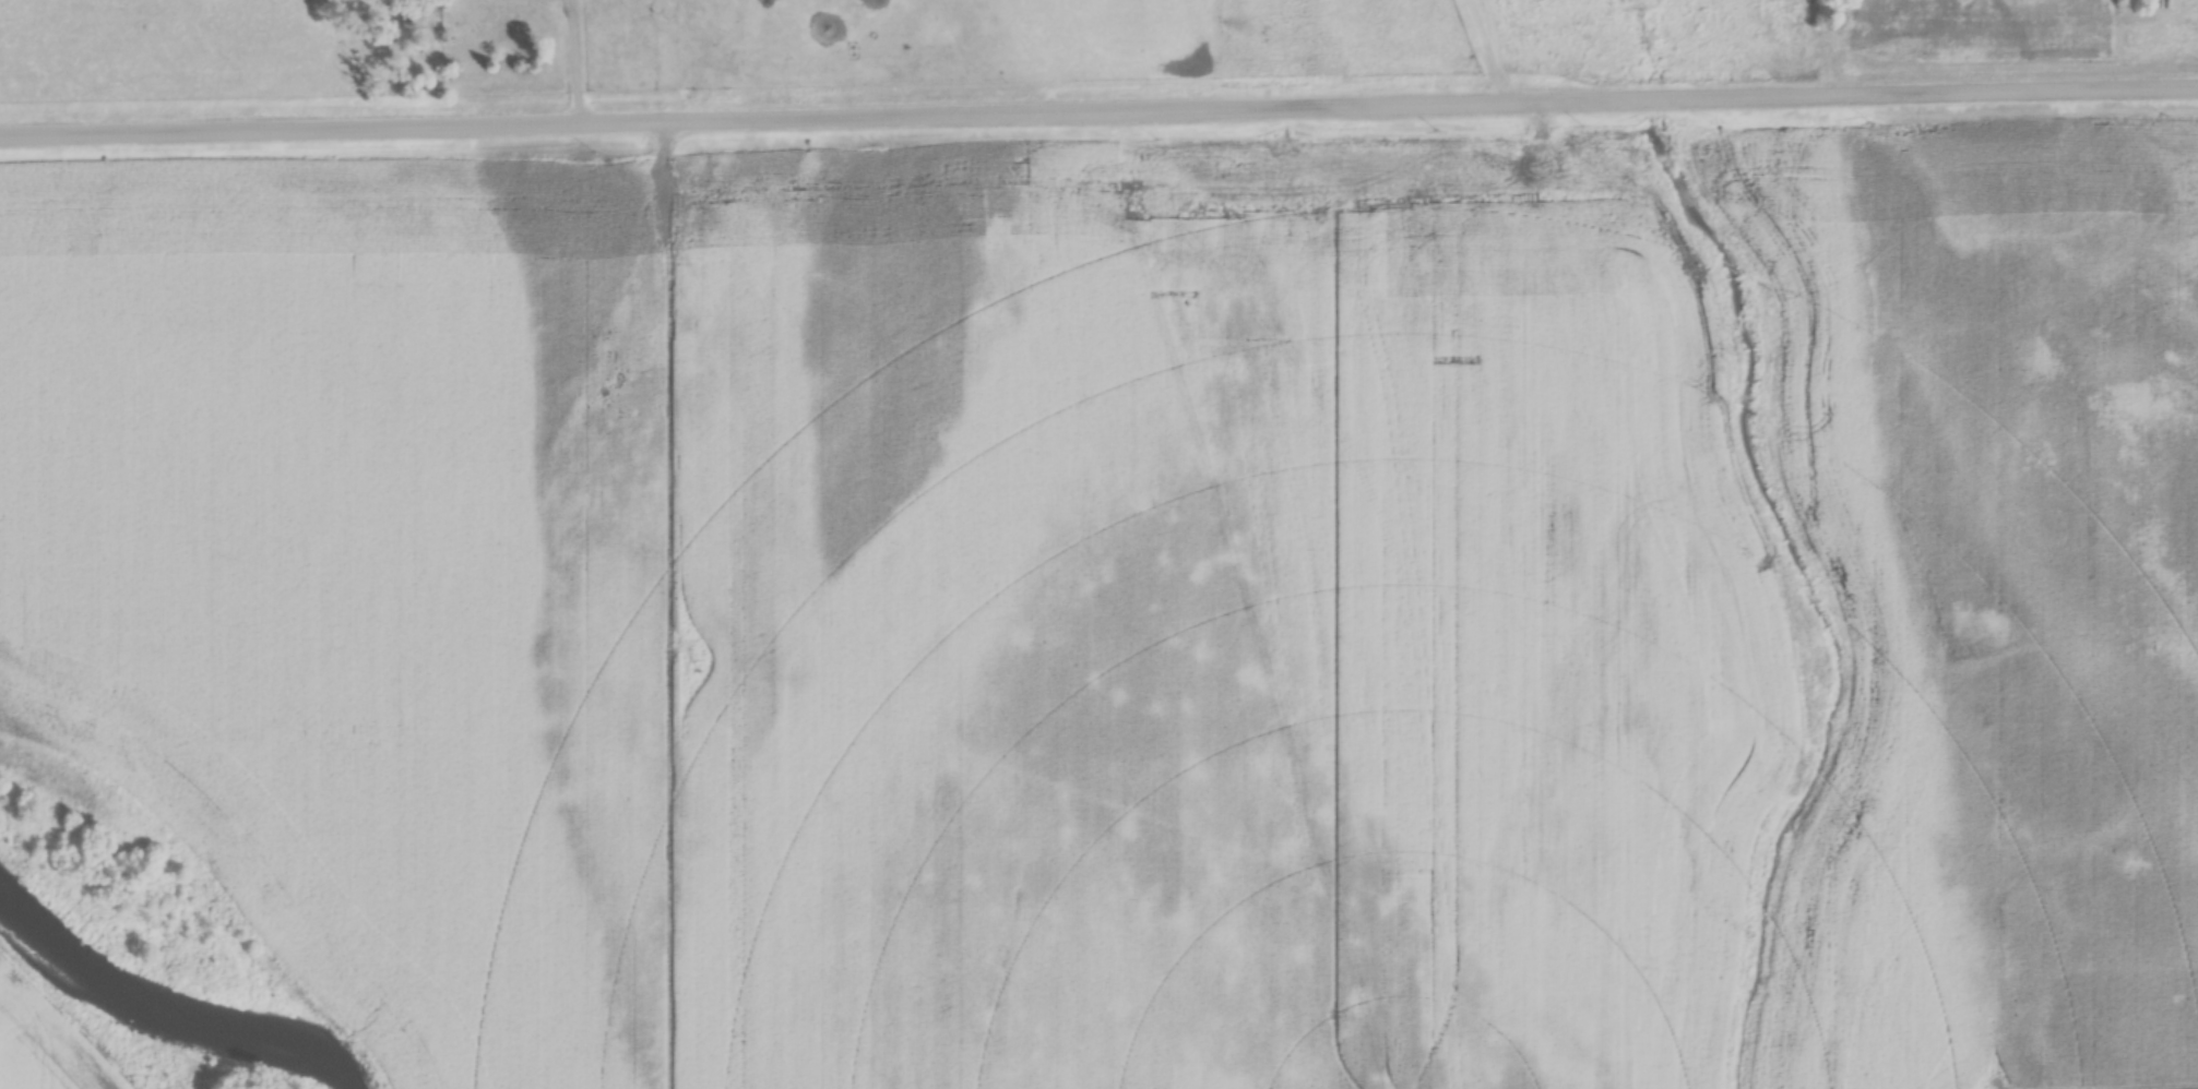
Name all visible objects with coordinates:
building: (666, 12)
building: (531, 26)
road: (1098, 109)
river: (177, 1007)

